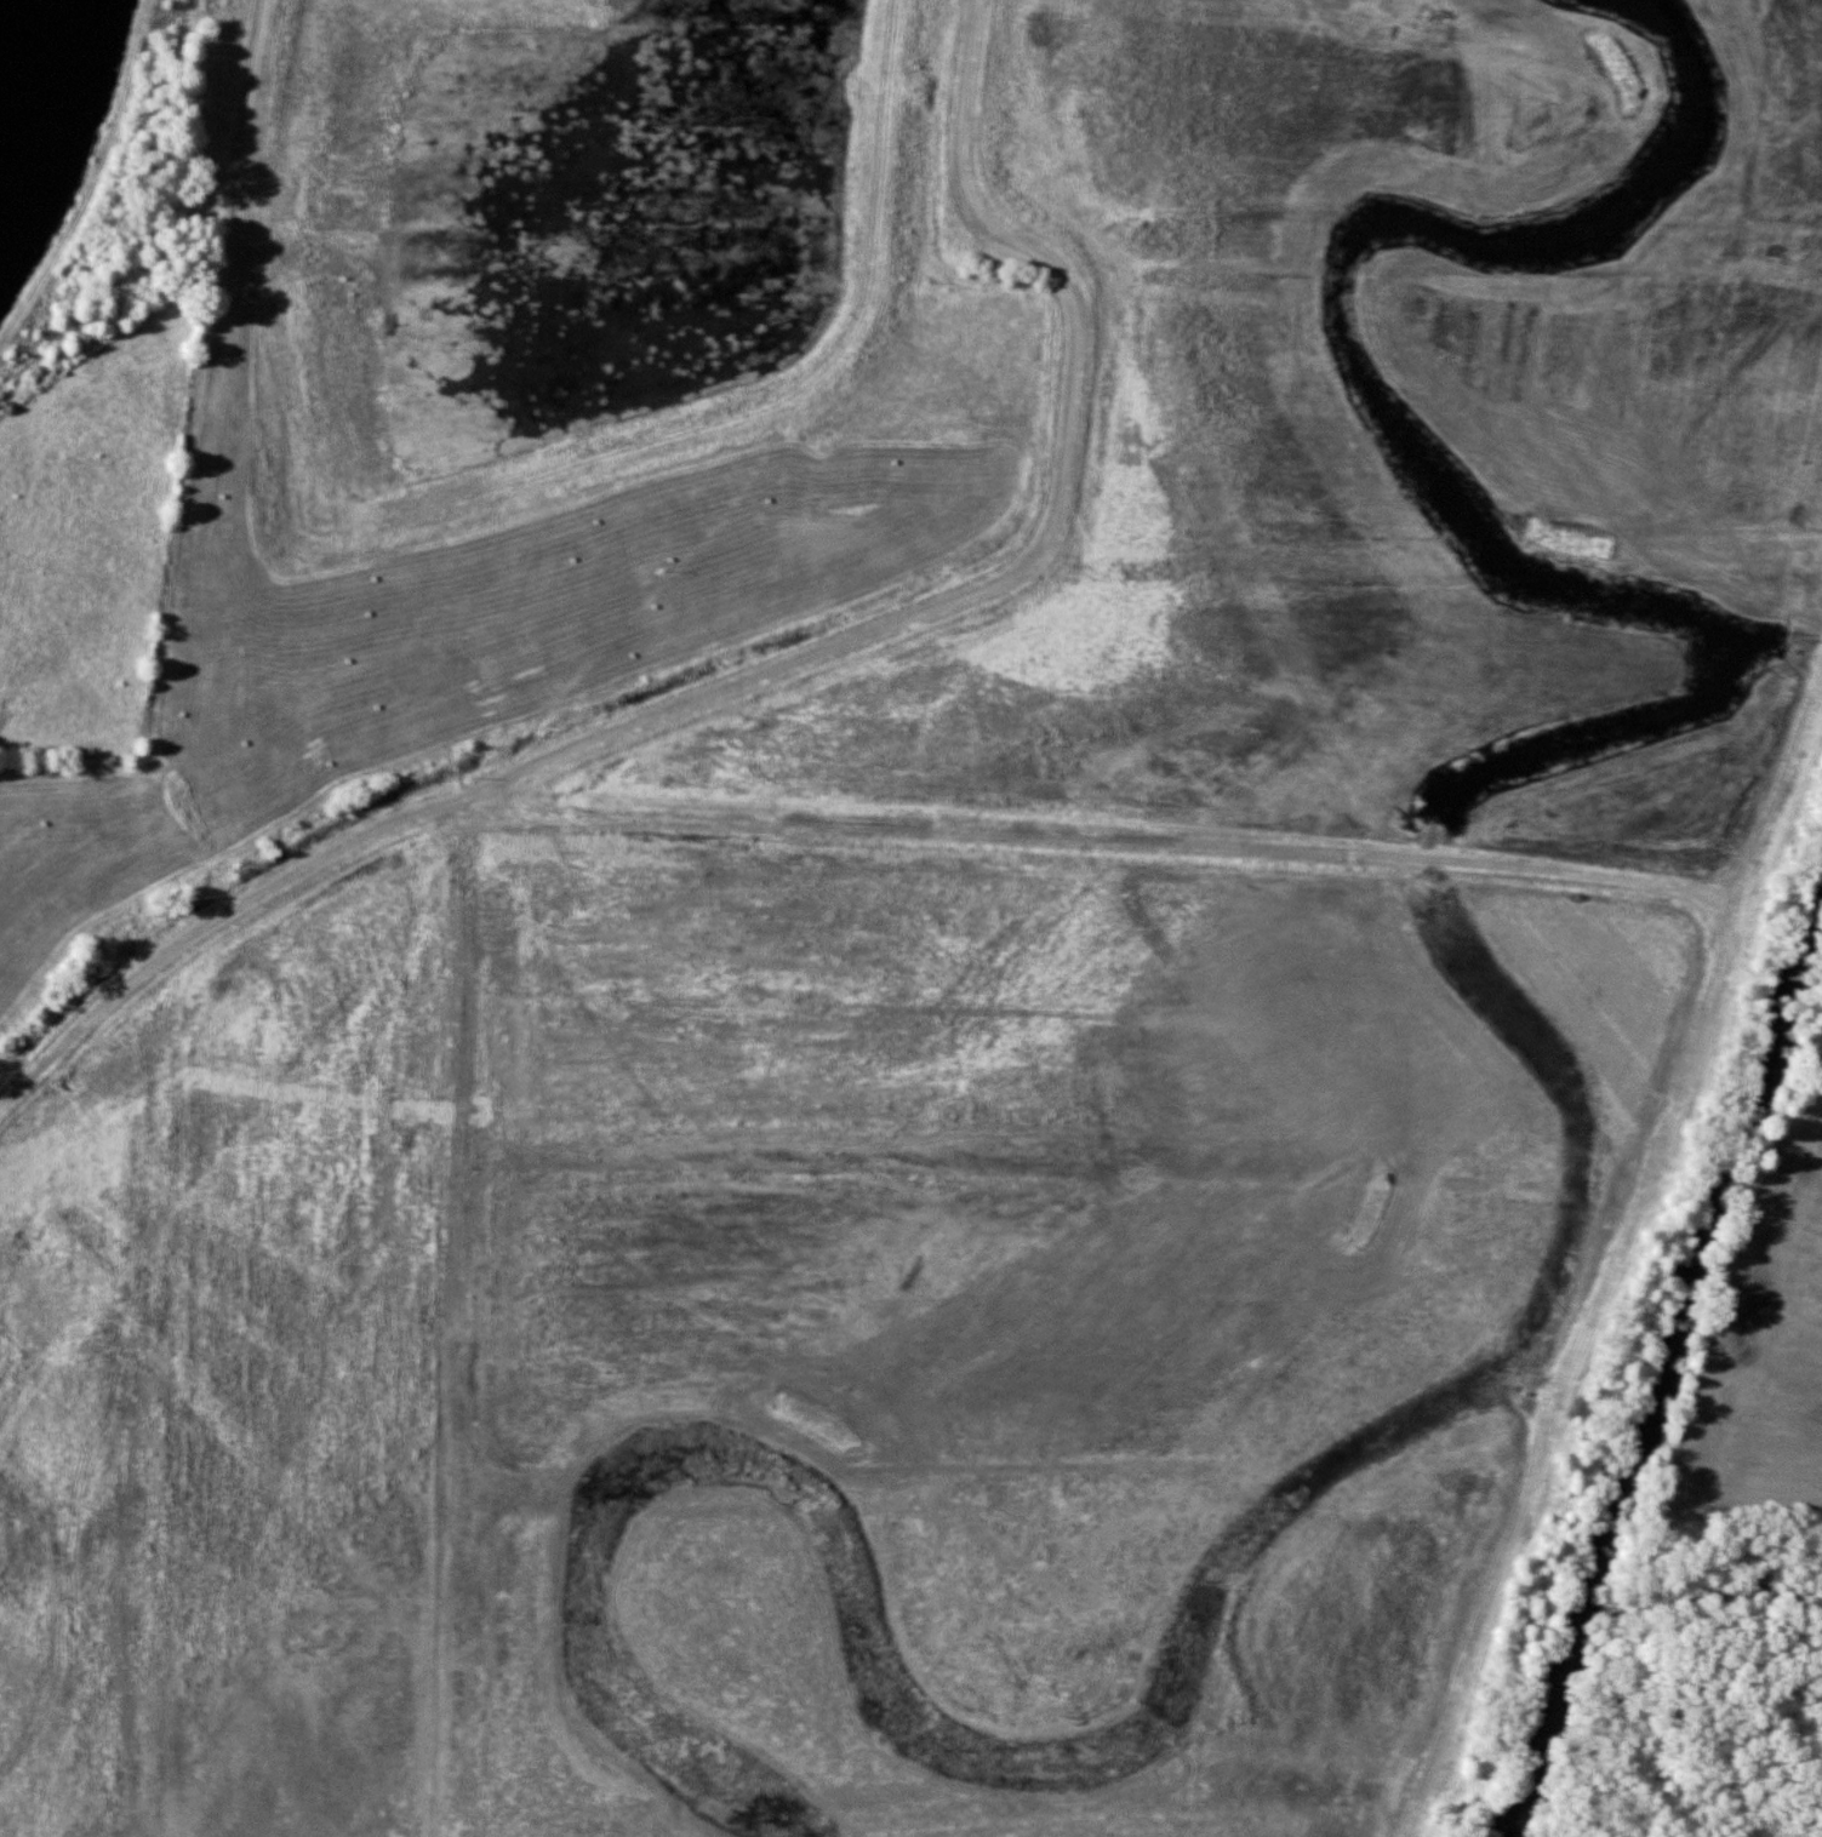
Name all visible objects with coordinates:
river: (1658, 1364)

